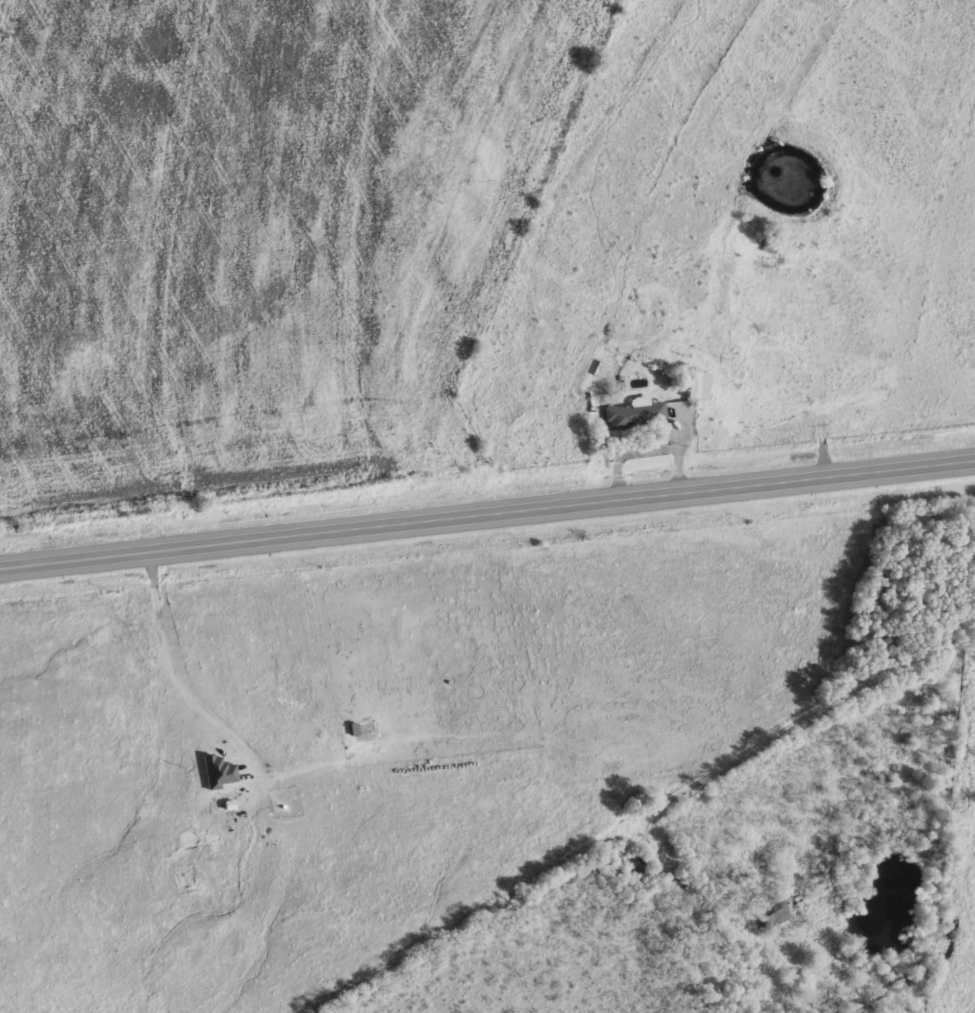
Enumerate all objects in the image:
building: (597, 368)
building: (701, 385)
road: (487, 519)
road: (825, 721)
building: (220, 772)
building: (778, 917)

